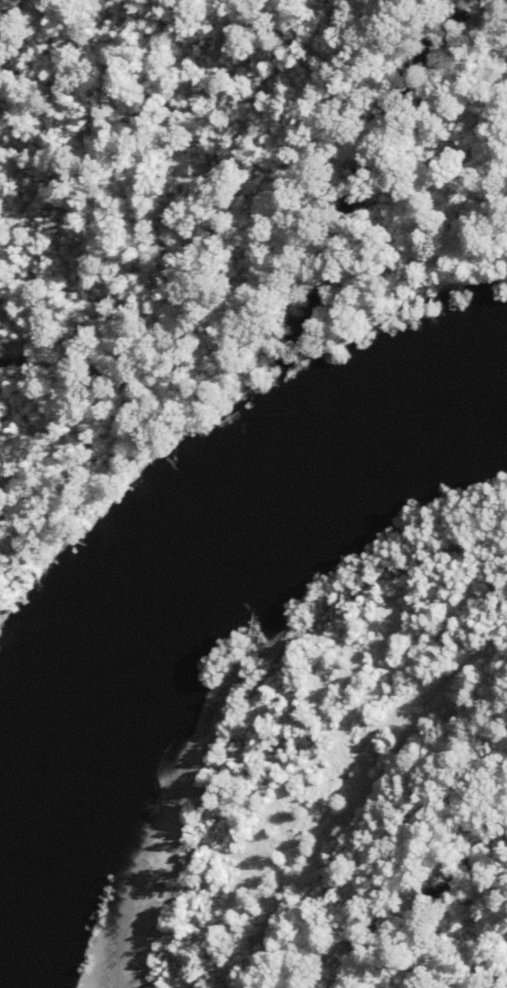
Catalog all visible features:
river: (226, 546)

